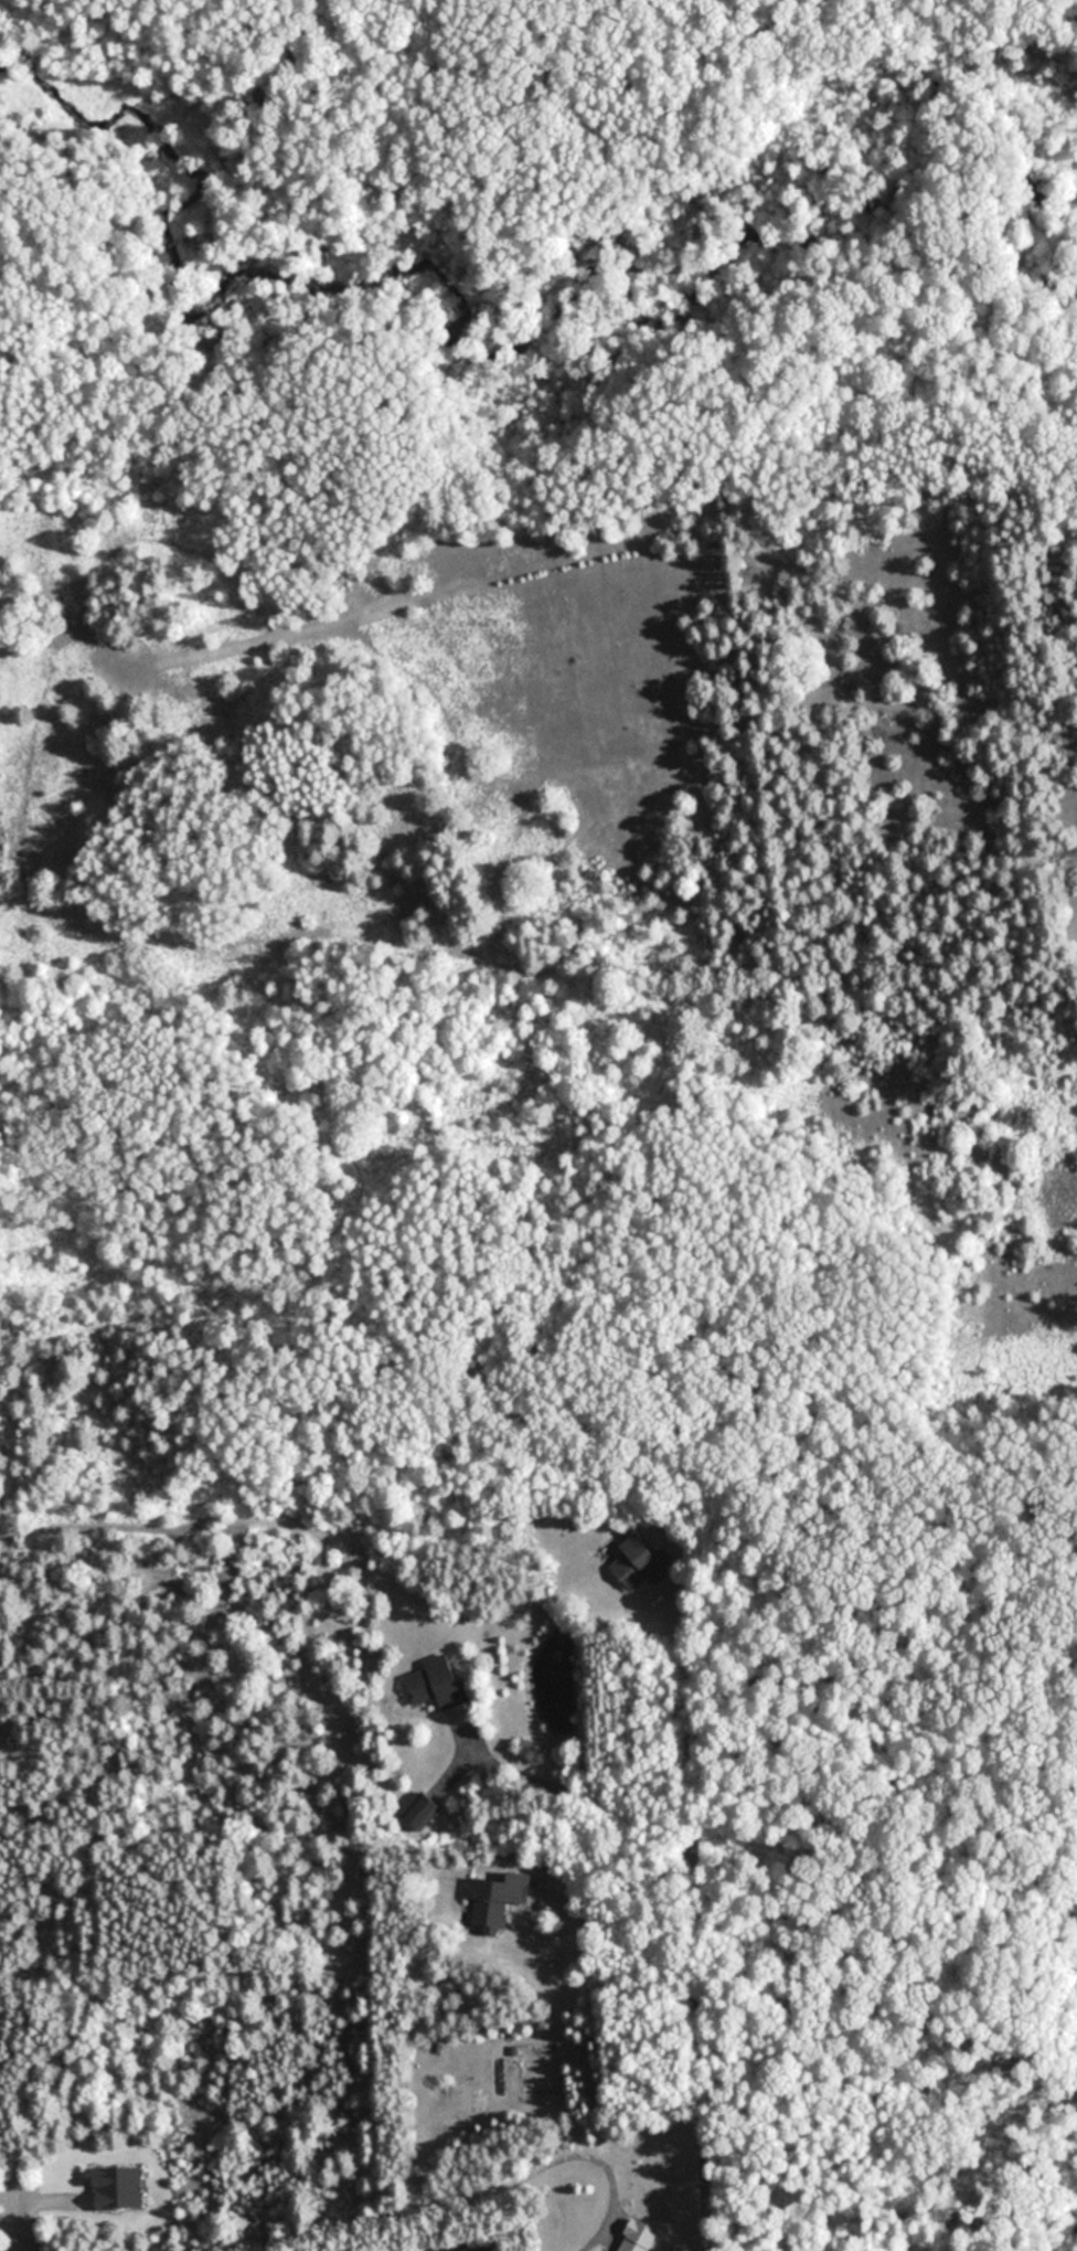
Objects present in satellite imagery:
building: (641, 1563)
building: (438, 1682)
building: (422, 1809)
building: (498, 1900)
road: (711, 1928)
road: (19, 2247)

